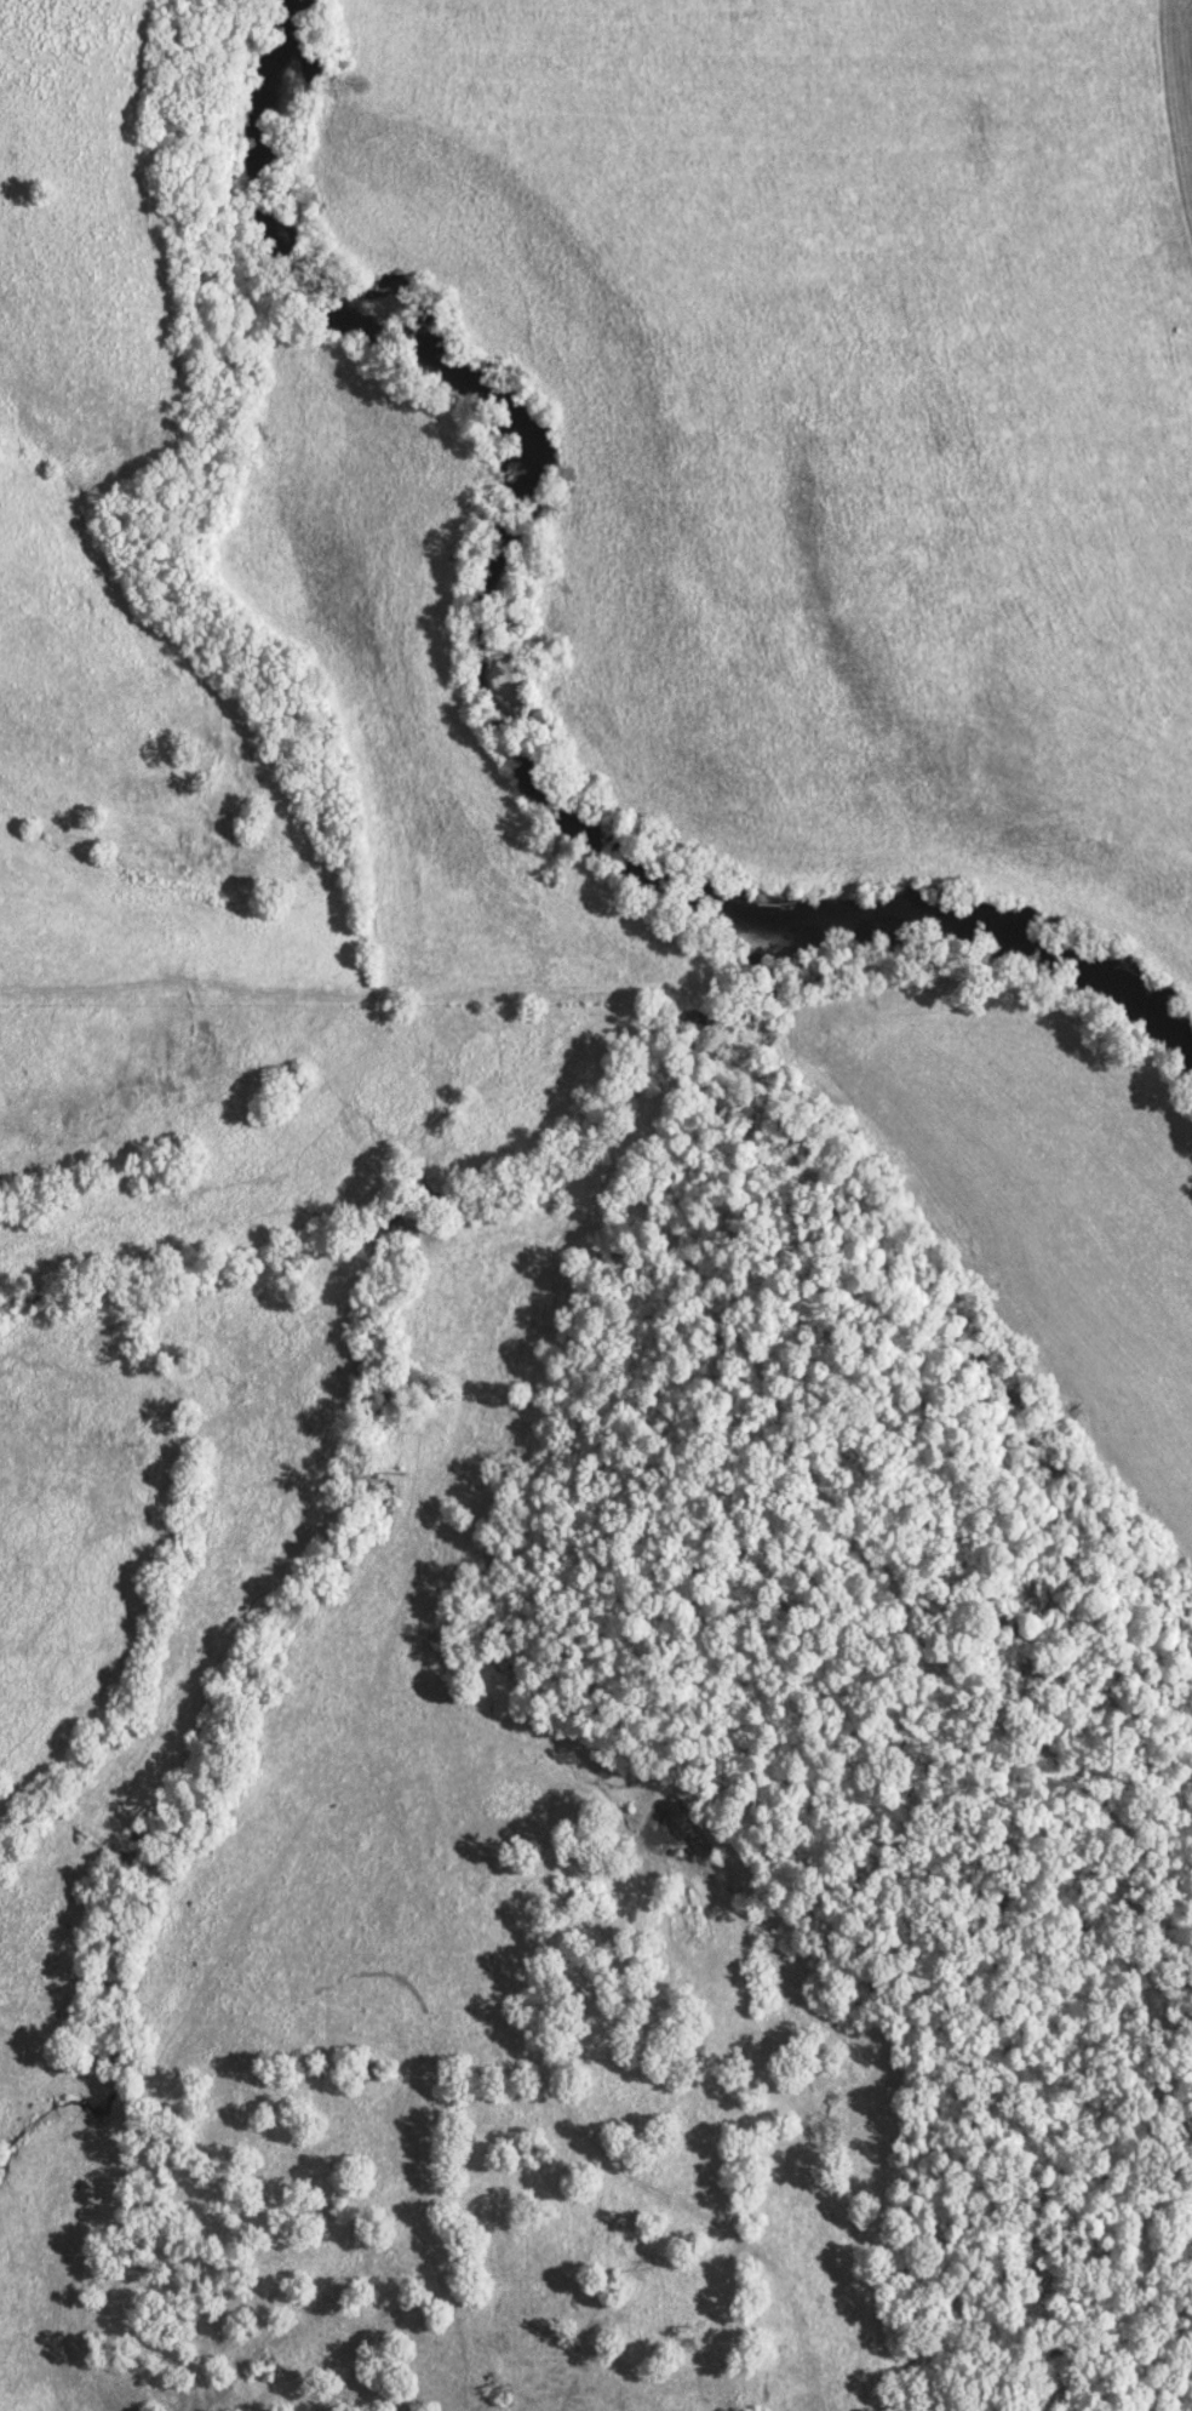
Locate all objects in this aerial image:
river: (502, 703)
road: (337, 995)

